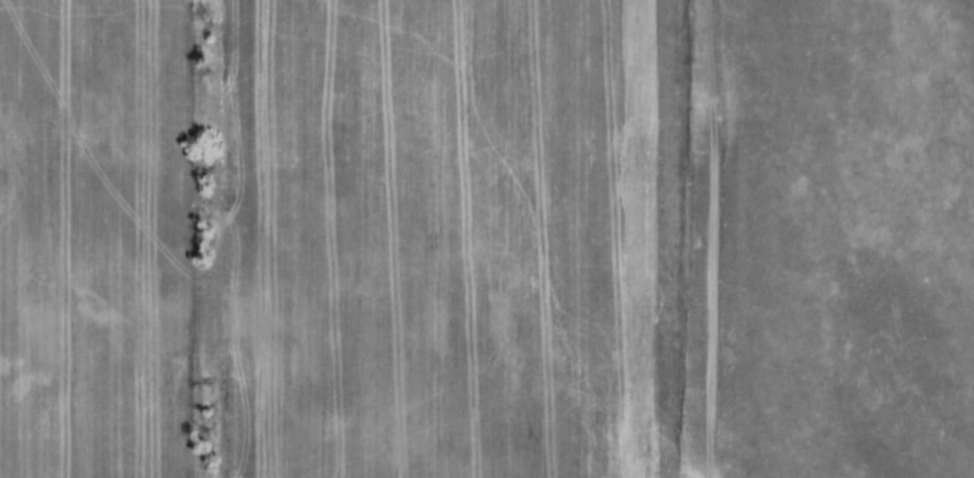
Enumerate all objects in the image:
road: (713, 238)

